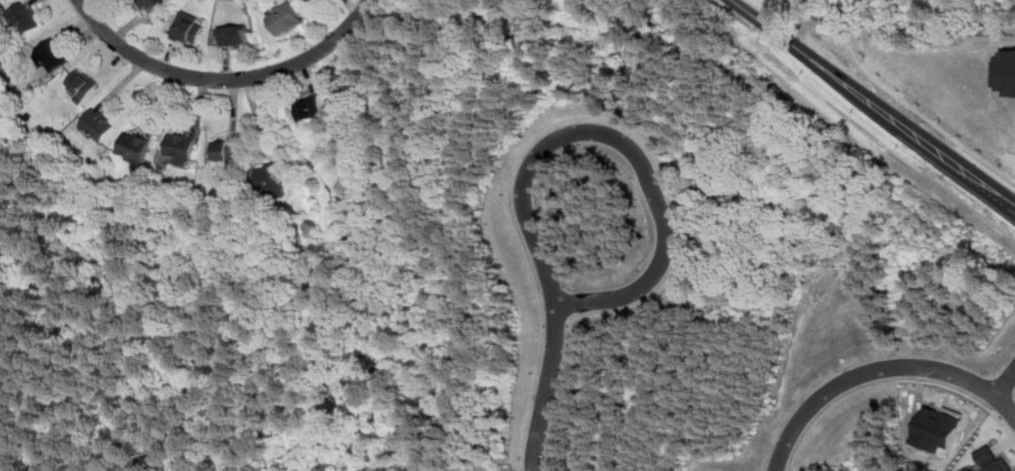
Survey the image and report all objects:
road: (794, 0)
building: (313, 1)
building: (150, 5)
building: (23, 17)
building: (284, 17)
building: (186, 27)
building: (233, 34)
building: (50, 54)
street lamp: (124, 63)
street lamp: (316, 65)
building: (1006, 71)
road: (224, 79)
building: (627, 83)
building: (81, 84)
street lamp: (208, 89)
road: (898, 97)
road: (873, 103)
building: (310, 109)
building: (508, 111)
building: (674, 117)
building: (97, 124)
building: (134, 146)
building: (181, 146)
building: (225, 148)
road: (627, 149)
road: (907, 159)
building: (701, 172)
building: (271, 177)
building: (717, 226)
building: (697, 291)
building: (925, 308)
building: (869, 315)
building: (496, 332)
building: (791, 345)
road: (881, 372)
road: (1005, 382)
building: (492, 386)
road: (550, 390)
building: (753, 390)
building: (936, 426)
building: (476, 435)
building: (863, 435)
building: (590, 436)
building: (991, 461)
building: (967, 469)

